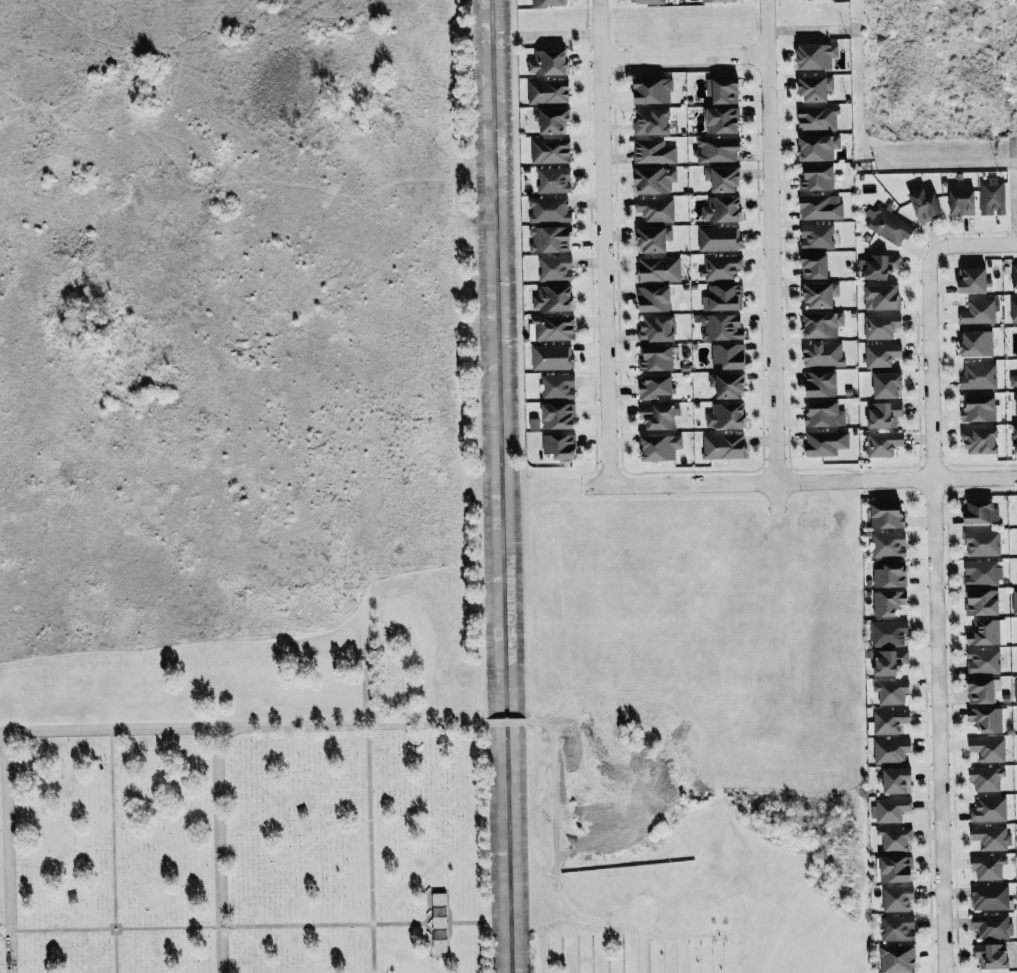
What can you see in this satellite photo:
building: (718, 1)
building: (649, 2)
building: (549, 3)
building: (816, 56)
road: (682, 57)
building: (548, 63)
building: (815, 89)
building: (548, 91)
building: (652, 91)
building: (723, 91)
building: (818, 118)
building: (552, 121)
building: (722, 121)
building: (652, 122)
building: (818, 146)
building: (718, 149)
building: (550, 151)
building: (653, 152)
building: (816, 176)
building: (722, 177)
building: (553, 179)
building: (655, 179)
building: (992, 196)
building: (962, 201)
building: (925, 202)
building: (820, 206)
building: (722, 208)
building: (549, 209)
building: (655, 209)
building: (887, 224)
building: (817, 235)
building: (550, 238)
building: (654, 238)
building: (718, 238)
road: (976, 240)
road: (602, 242)
road: (770, 254)
building: (815, 264)
building: (879, 265)
building: (720, 266)
building: (555, 267)
building: (658, 268)
building: (1014, 275)
building: (974, 279)
building: (821, 294)
building: (882, 296)
building: (553, 297)
building: (654, 297)
building: (723, 297)
building: (1013, 309)
building: (978, 311)
building: (821, 323)
building: (881, 325)
building: (721, 326)
building: (552, 327)
building: (657, 327)
building: (977, 342)
building: (823, 353)
building: (728, 354)
building: (881, 354)
building: (551, 357)
building: (655, 357)
building: (978, 375)
building: (1013, 379)
building: (821, 382)
building: (887, 383)
building: (727, 384)
building: (557, 386)
building: (656, 386)
building: (1016, 404)
building: (979, 407)
building: (824, 413)
building: (884, 413)
building: (558, 415)
building: (726, 415)
building: (1016, 439)
building: (980, 440)
building: (827, 443)
building: (883, 443)
building: (560, 445)
building: (723, 445)
building: (661, 446)
road: (800, 480)
building: (978, 512)
building: (887, 514)
building: (982, 542)
building: (888, 544)
building: (982, 572)
building: (890, 574)
building: (982, 601)
building: (1014, 601)
building: (888, 602)
road: (936, 607)
building: (889, 632)
building: (987, 632)
building: (889, 661)
building: (982, 661)
building: (1015, 689)
building: (982, 690)
building: (891, 691)
building: (986, 718)
building: (889, 720)
road: (506, 723)
road: (232, 729)
road: (4, 734)
road: (8, 747)
building: (988, 748)
building: (890, 750)
building: (986, 778)
building: (895, 779)
park: (257, 795)
building: (890, 809)
building: (989, 809)
building: (991, 837)
building: (894, 838)
building: (988, 866)
building: (896, 868)
road: (560, 870)
park: (668, 877)
building: (989, 897)
building: (897, 898)
building: (439, 924)
building: (992, 925)
building: (897, 928)
building: (992, 955)
building: (897, 958)

